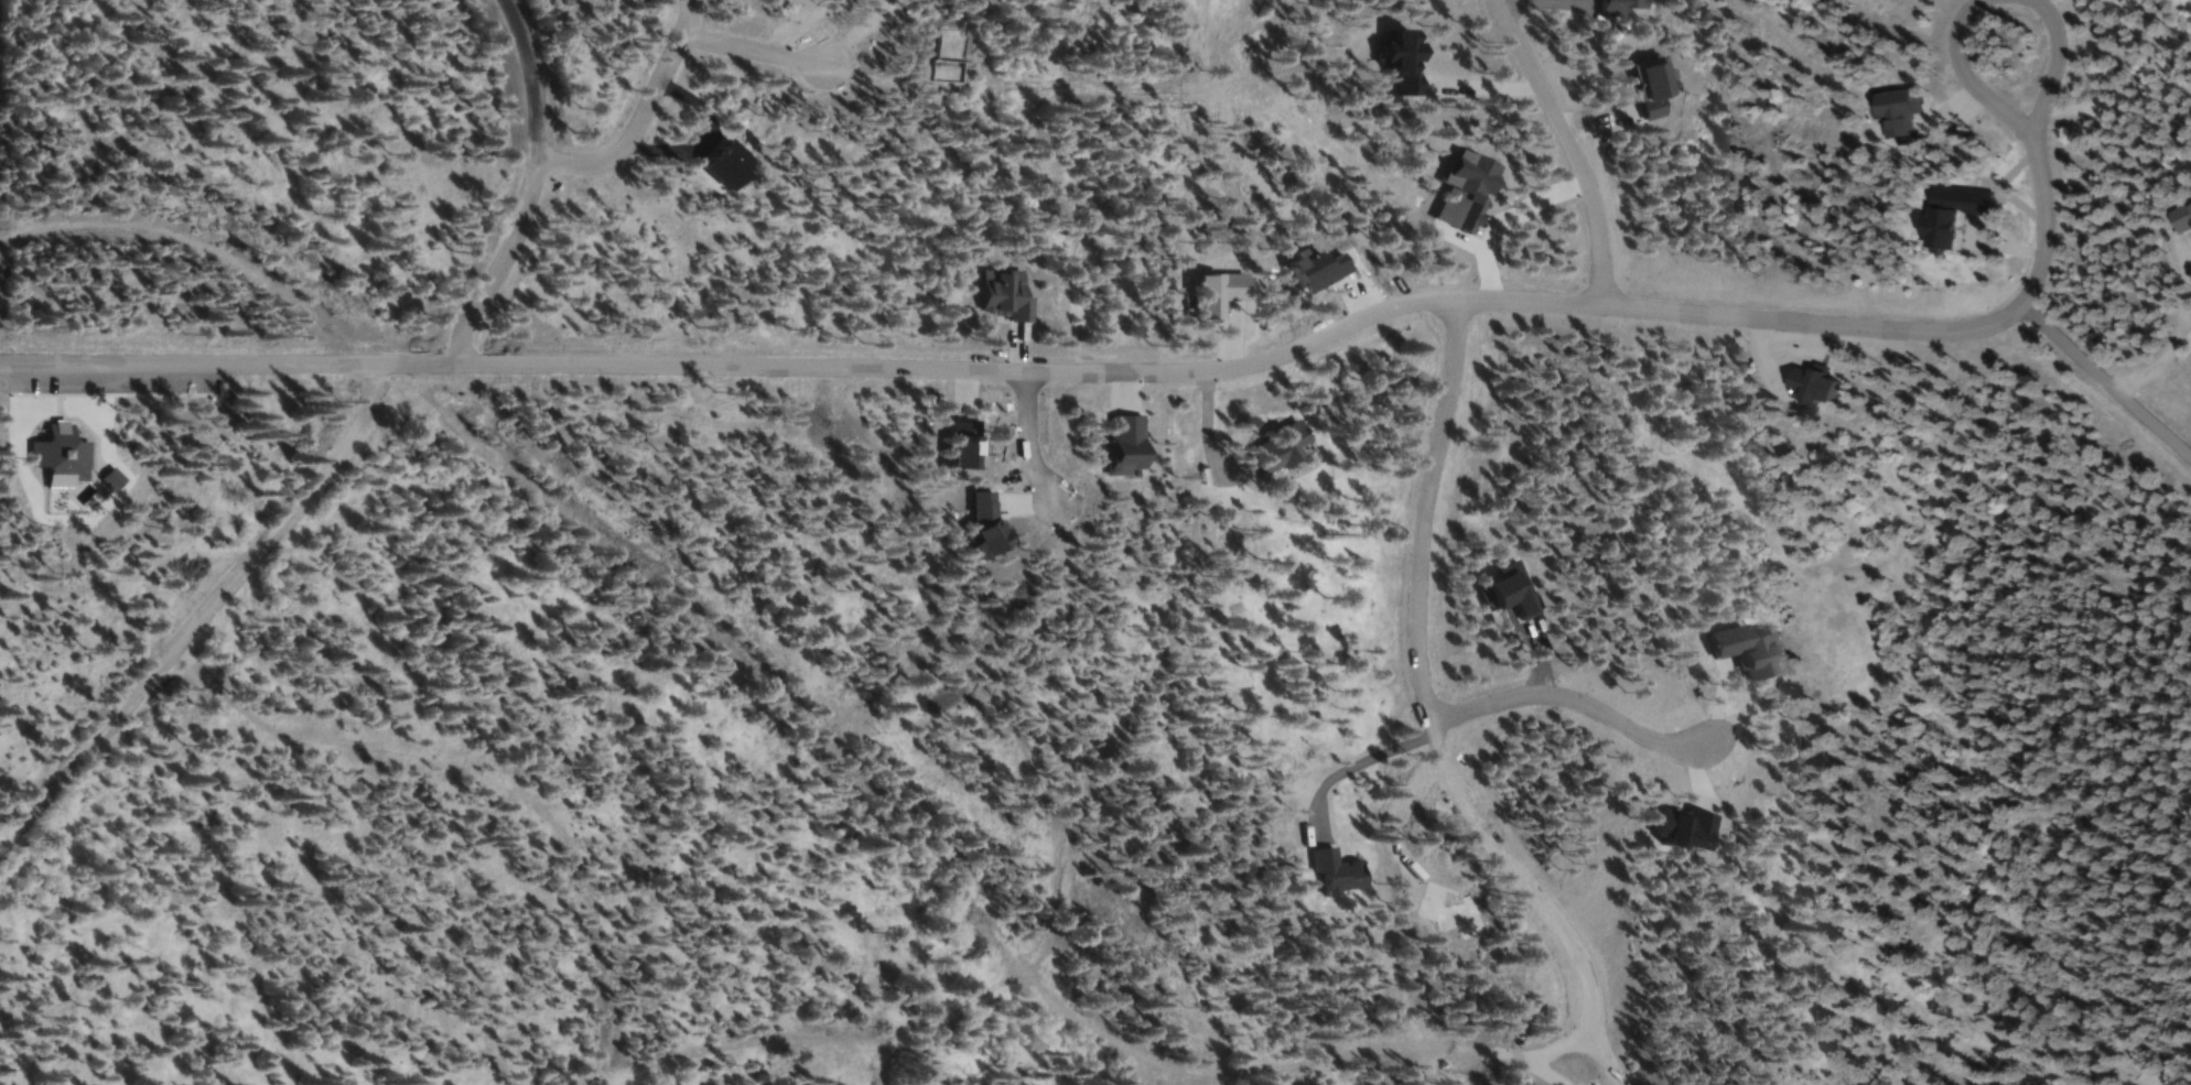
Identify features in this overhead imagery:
road: (755, 55)
road: (638, 112)
road: (2016, 120)
road: (1572, 147)
road: (526, 188)
building: (2178, 218)
road: (2041, 226)
road: (18, 236)
road: (1132, 375)
road: (1025, 442)
building: (1282, 449)
road: (1416, 510)
road: (186, 621)
road: (1572, 699)
road: (803, 726)
road: (1370, 760)
road: (1532, 891)

